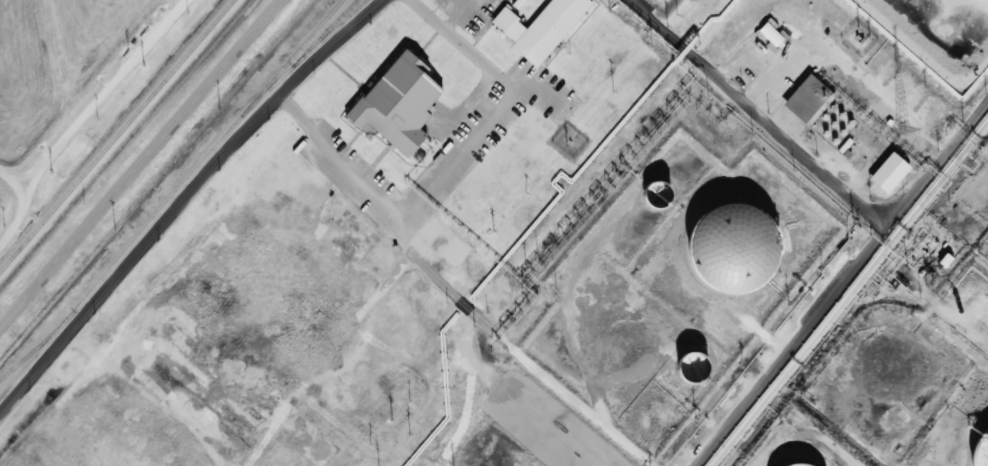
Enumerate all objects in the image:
building: (539, 29)
railway: (329, 34)
building: (769, 34)
railway: (299, 60)
building: (805, 102)
building: (393, 106)
building: (829, 110)
building: (837, 117)
building: (821, 118)
road: (759, 119)
building: (846, 125)
building: (829, 126)
building: (838, 134)
railway: (116, 135)
building: (821, 135)
building: (830, 143)
road: (140, 163)
building: (886, 175)
railway: (174, 193)
building: (650, 196)
road: (185, 198)
road: (21, 213)
building: (734, 253)
storage tank: (734, 253)
building: (943, 261)
road: (842, 284)
railway: (36, 354)
building: (693, 373)
storage tank: (693, 373)
building: (981, 453)
storage tank: (981, 453)
building: (816, 465)

